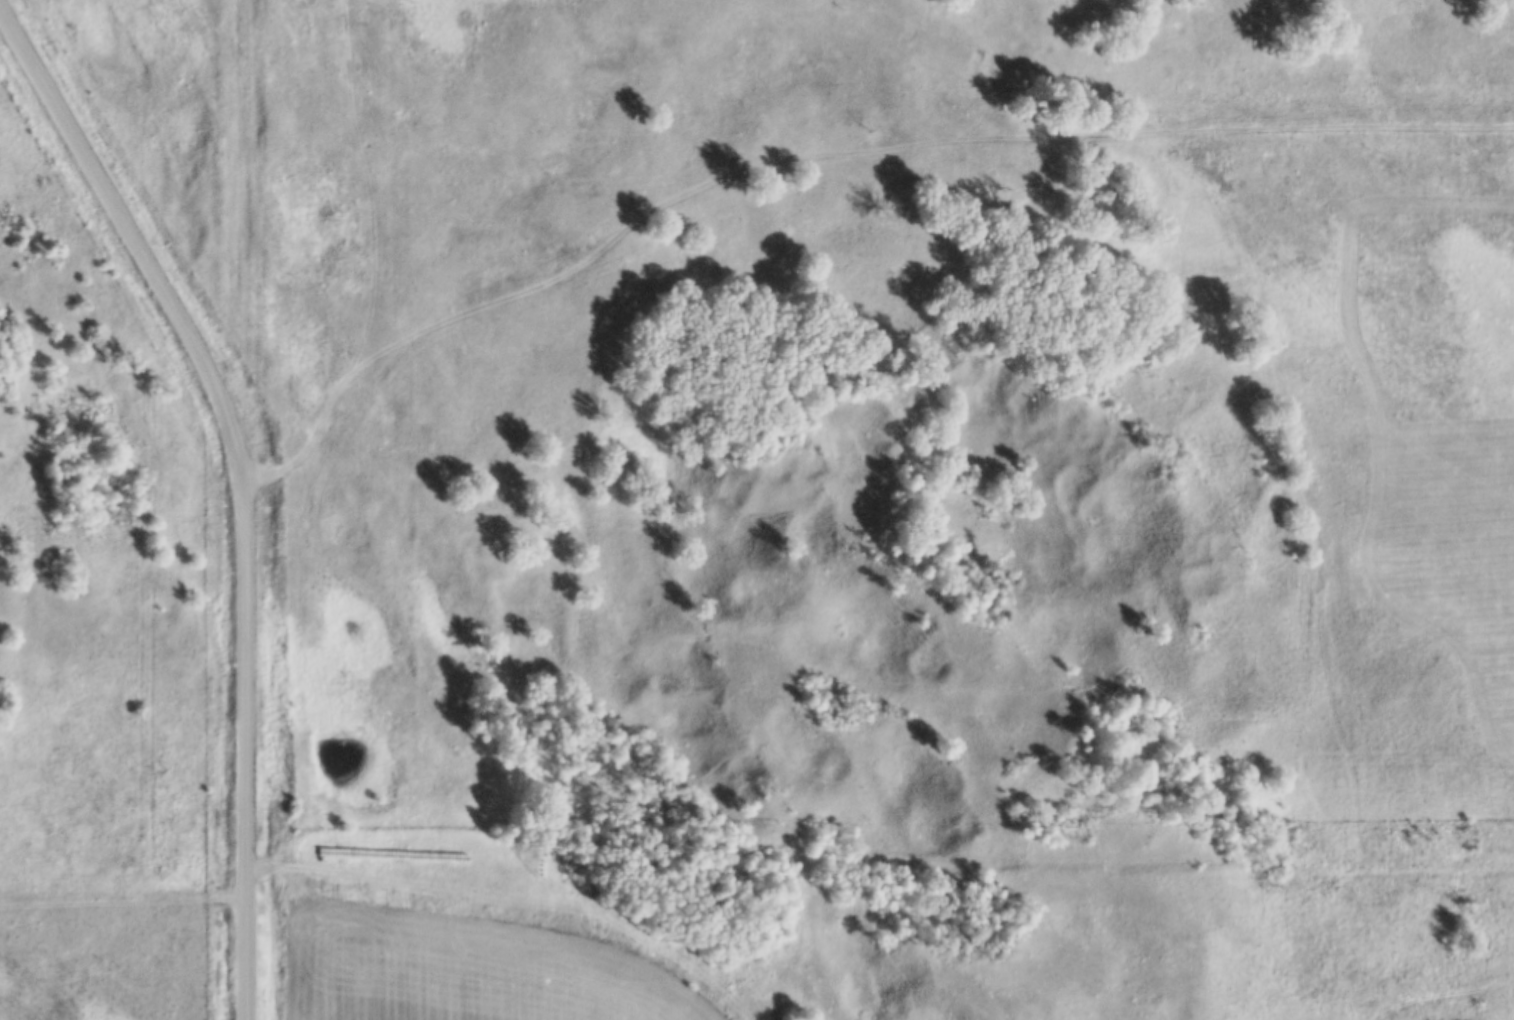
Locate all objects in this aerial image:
road: (247, 484)

